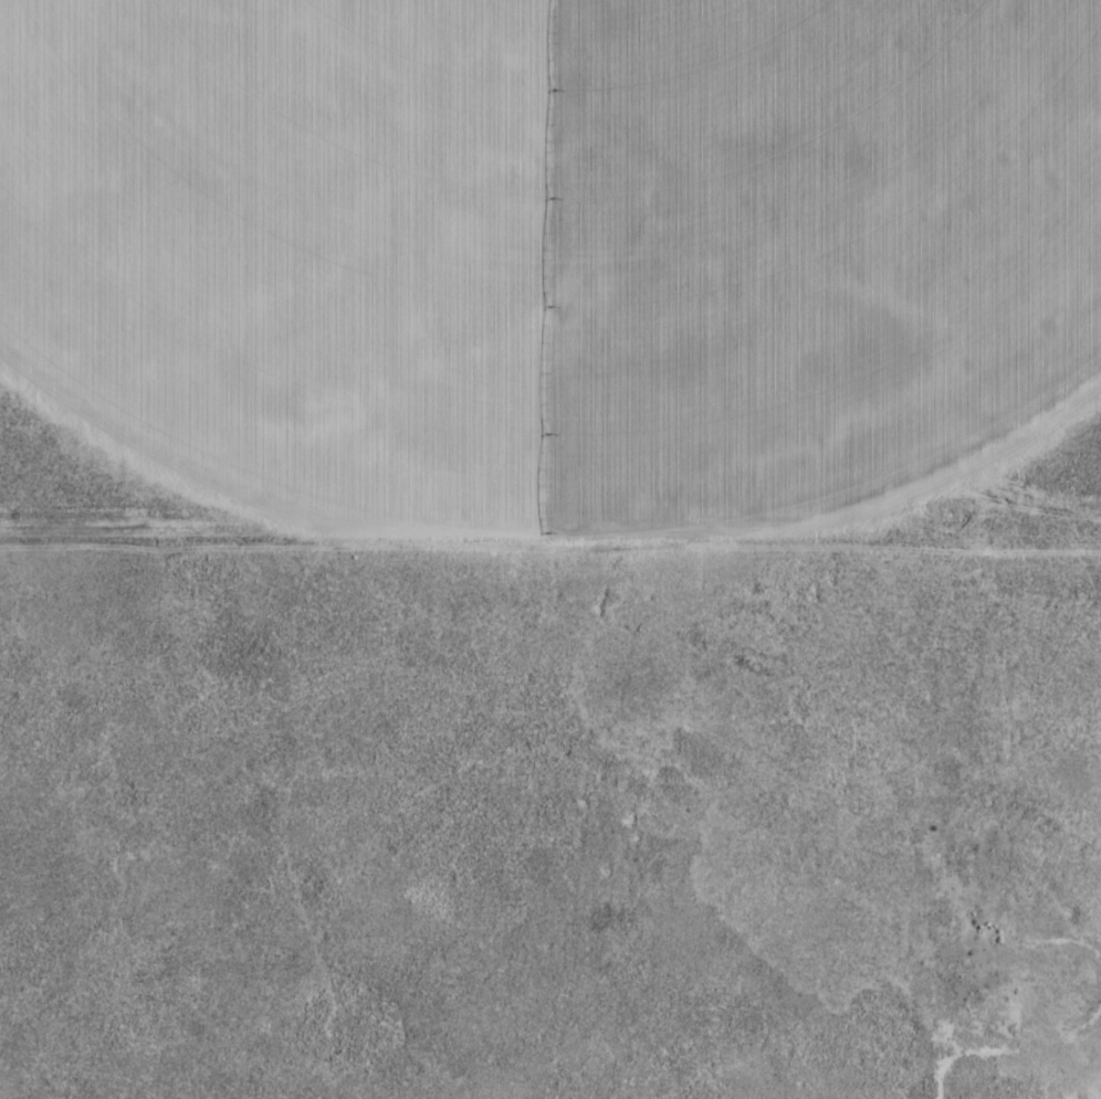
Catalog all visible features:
road: (930, 1069)

